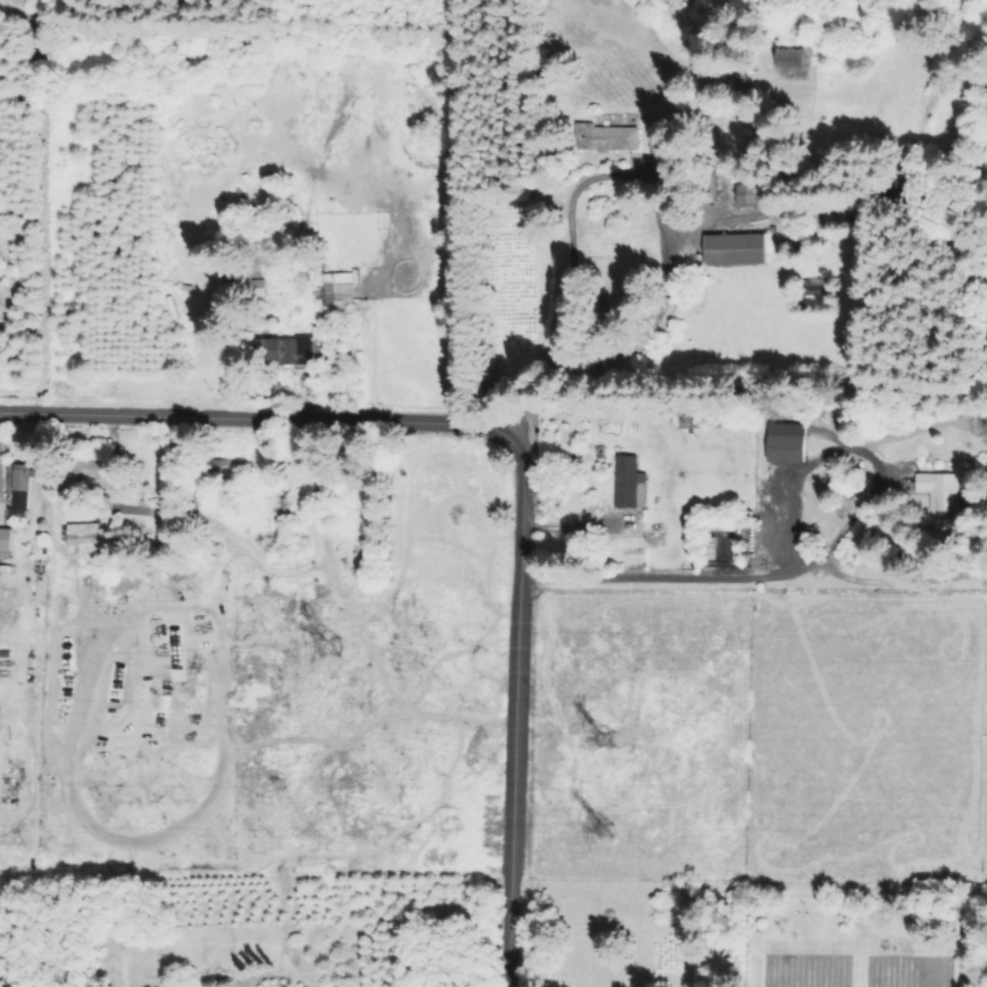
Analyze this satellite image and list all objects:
building: (741, 248)
road: (568, 260)
building: (342, 289)
road: (638, 338)
building: (793, 447)
road: (511, 459)
building: (94, 472)
building: (628, 477)
building: (16, 488)
building: (283, 508)
road: (572, 518)
road: (829, 524)
building: (83, 533)
building: (7, 538)
road: (694, 576)
power tower: (331, 645)
power tower: (592, 743)
power tower: (595, 823)
road: (278, 973)

